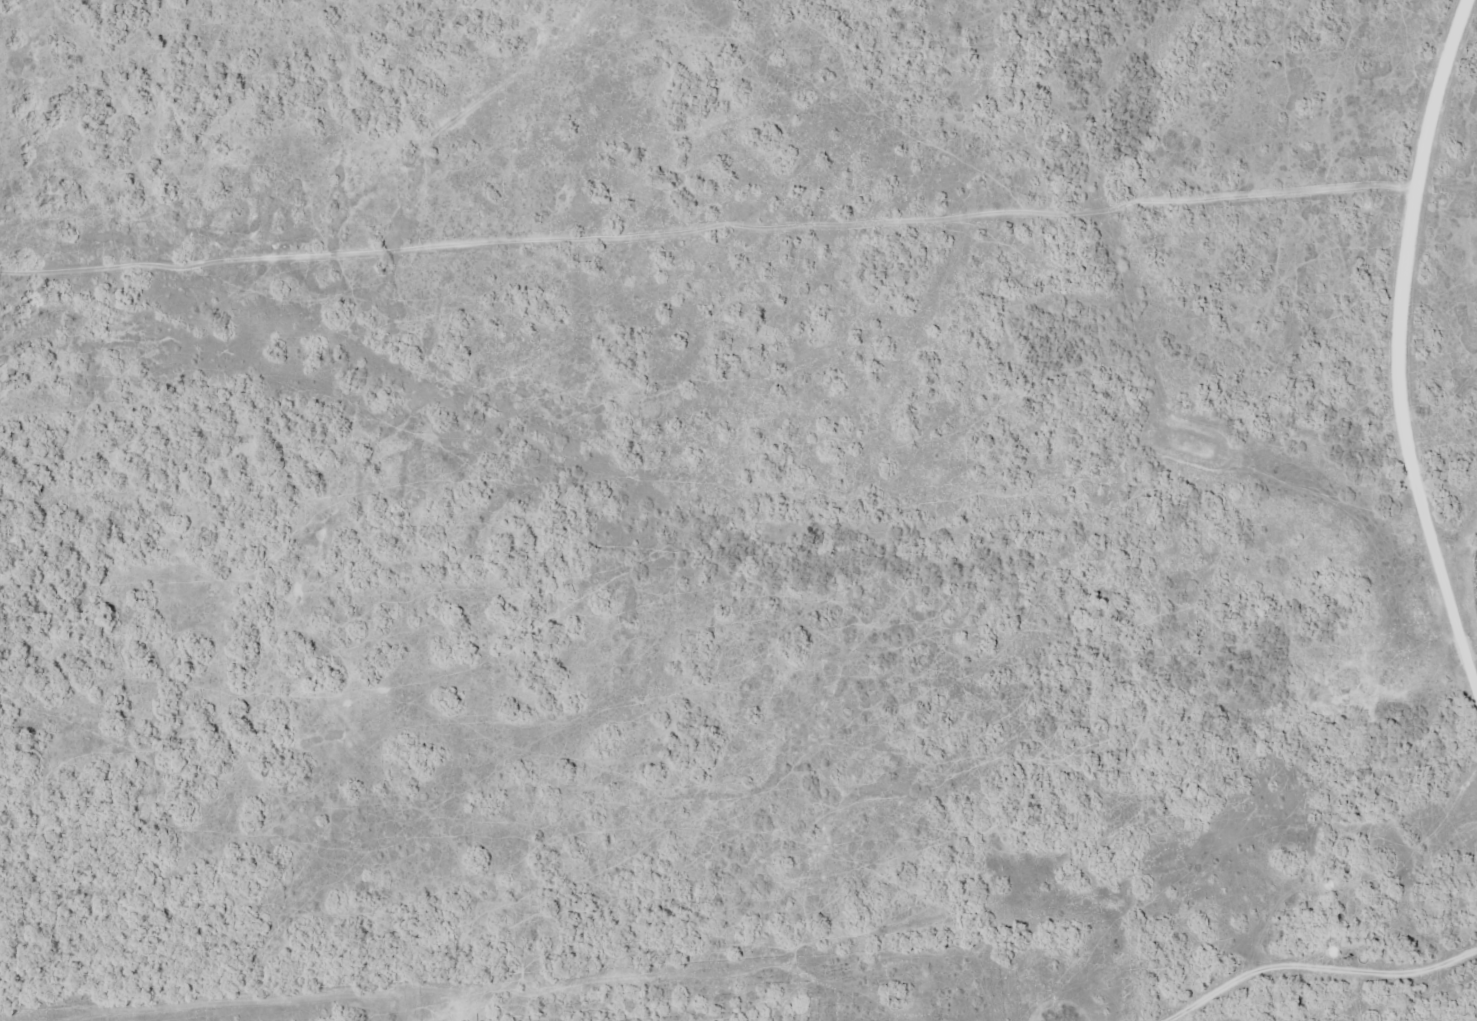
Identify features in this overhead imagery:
road: (1418, 321)
road: (1320, 945)

